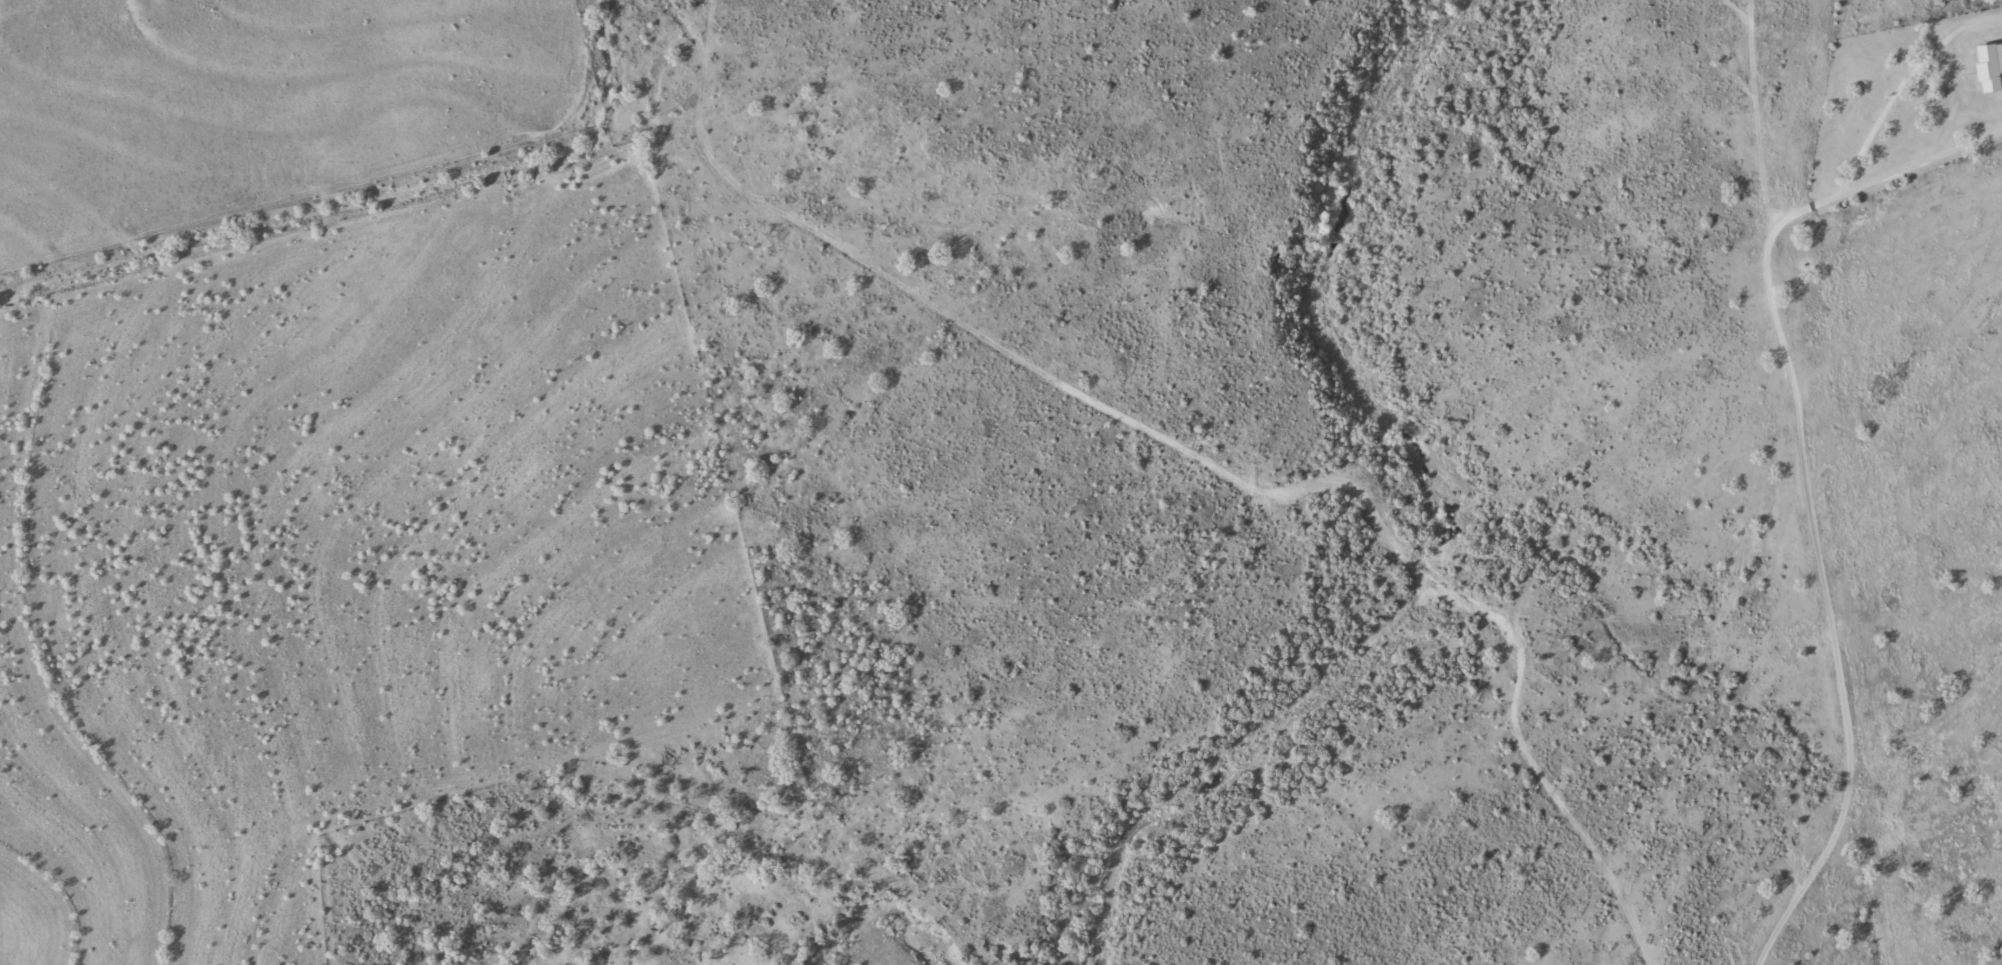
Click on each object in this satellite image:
building: (1989, 65)
road: (1880, 175)
road: (1790, 485)

